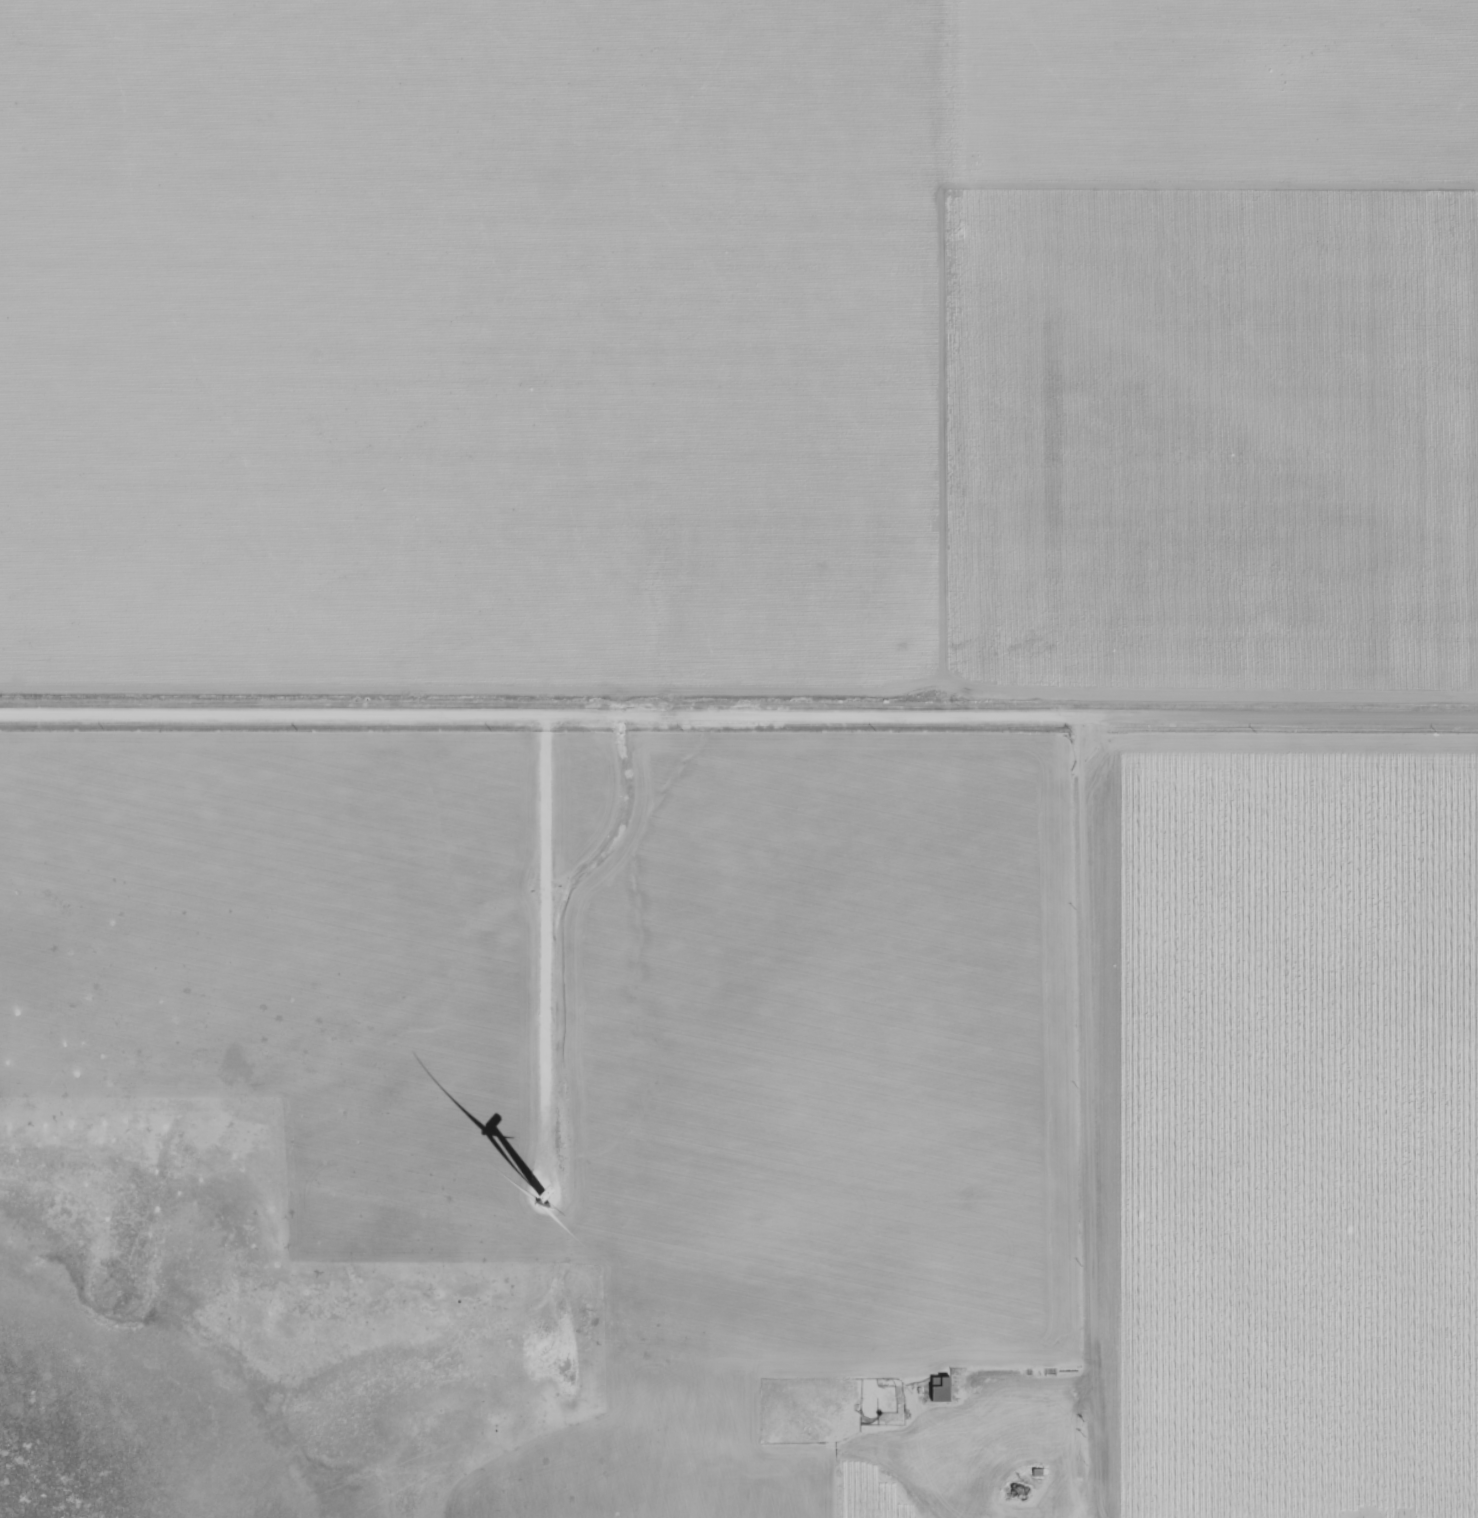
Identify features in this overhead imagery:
road: (739, 718)
road: (1080, 1119)
wind turbine: (548, 1200)
building: (933, 1389)

